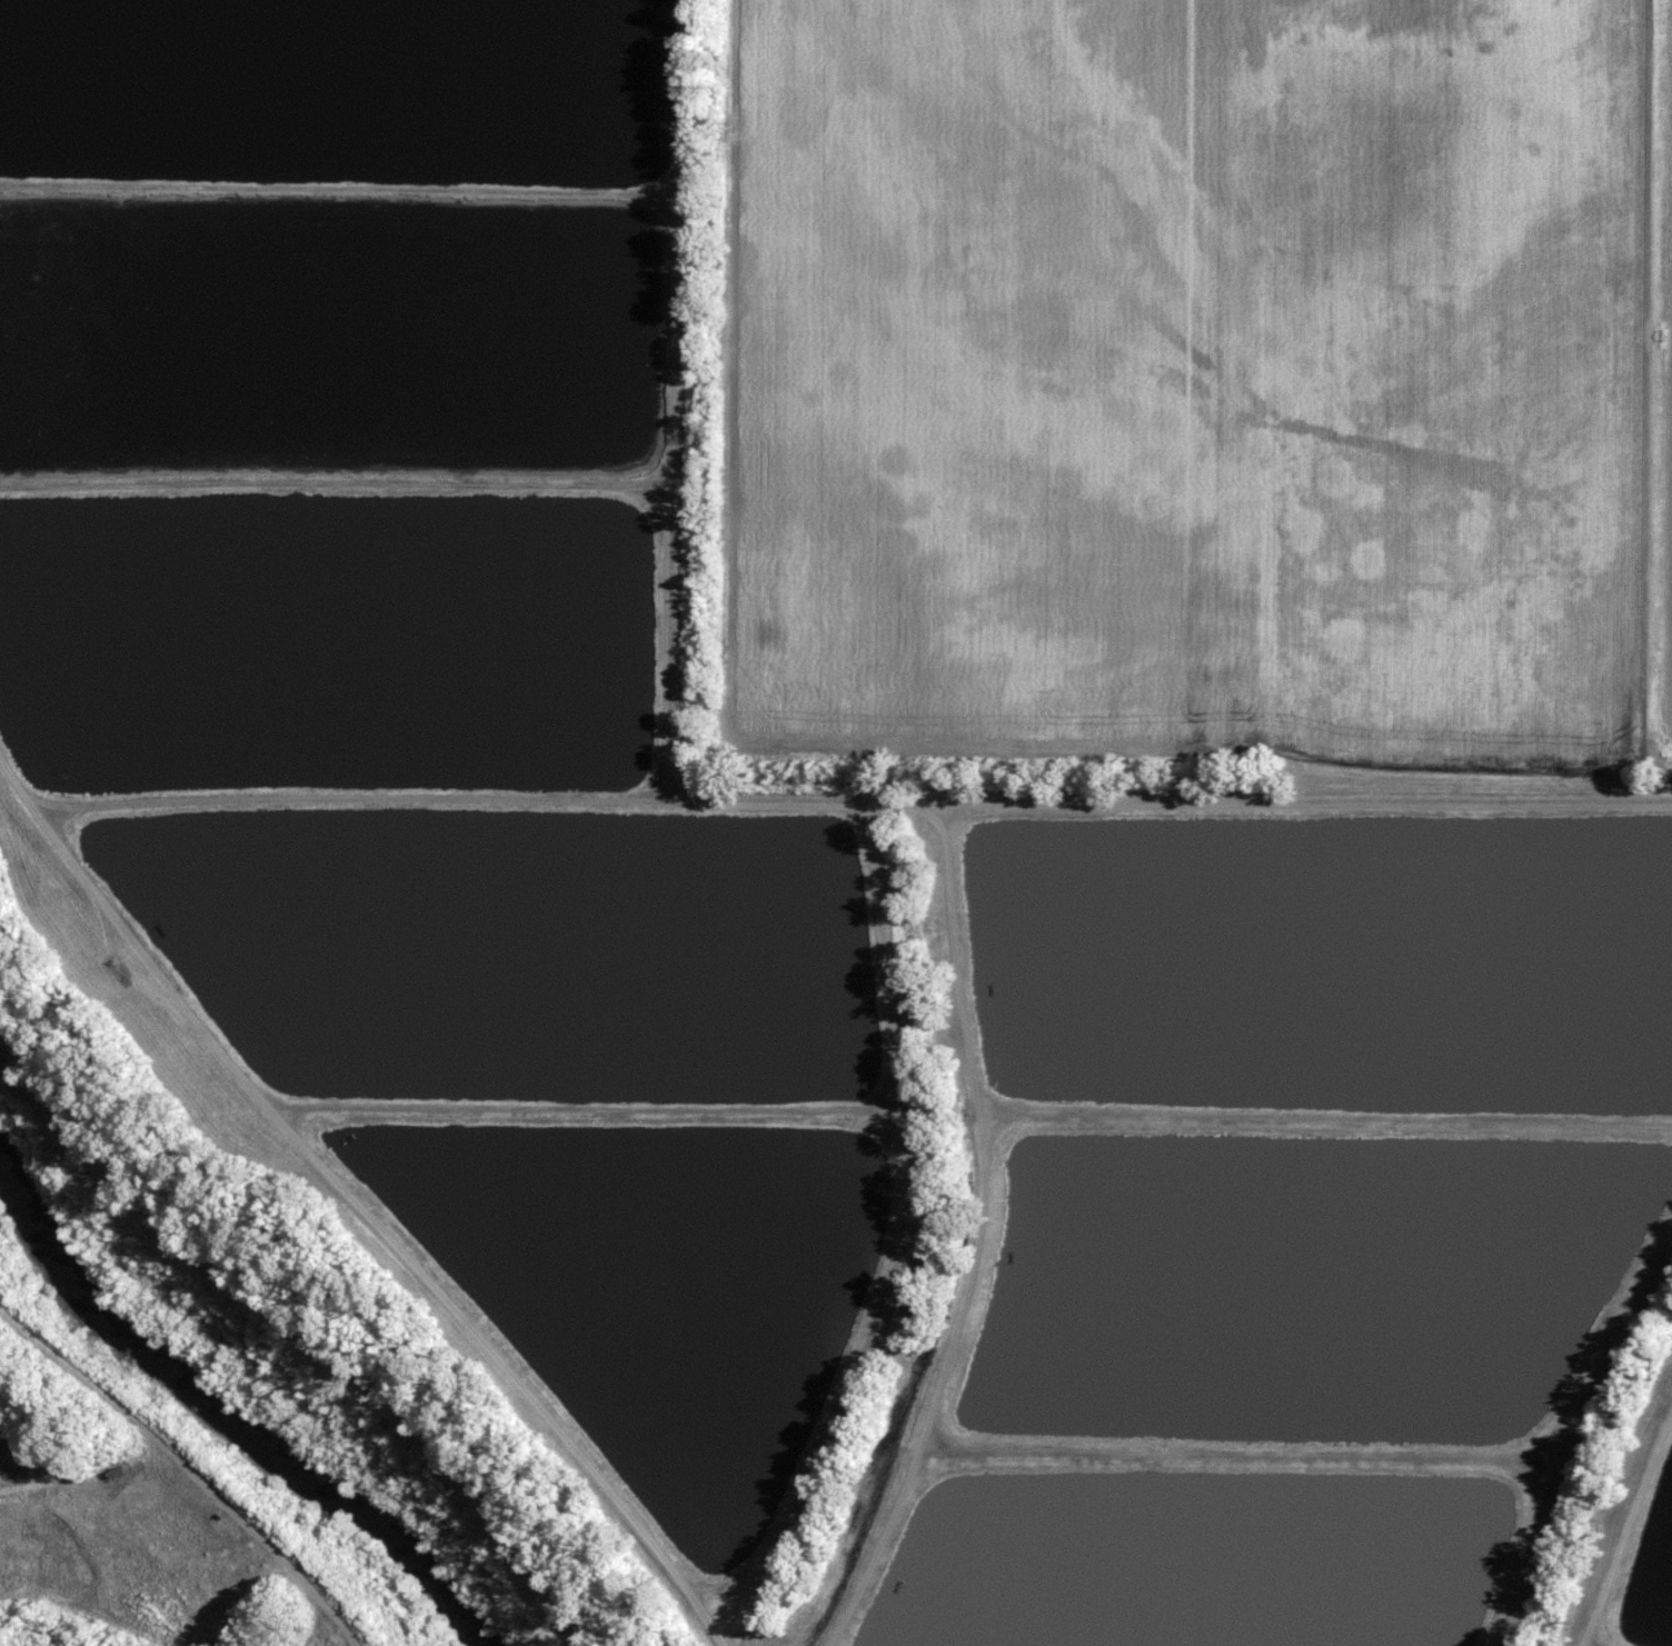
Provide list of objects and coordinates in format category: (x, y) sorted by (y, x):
road: (192, 1464)

